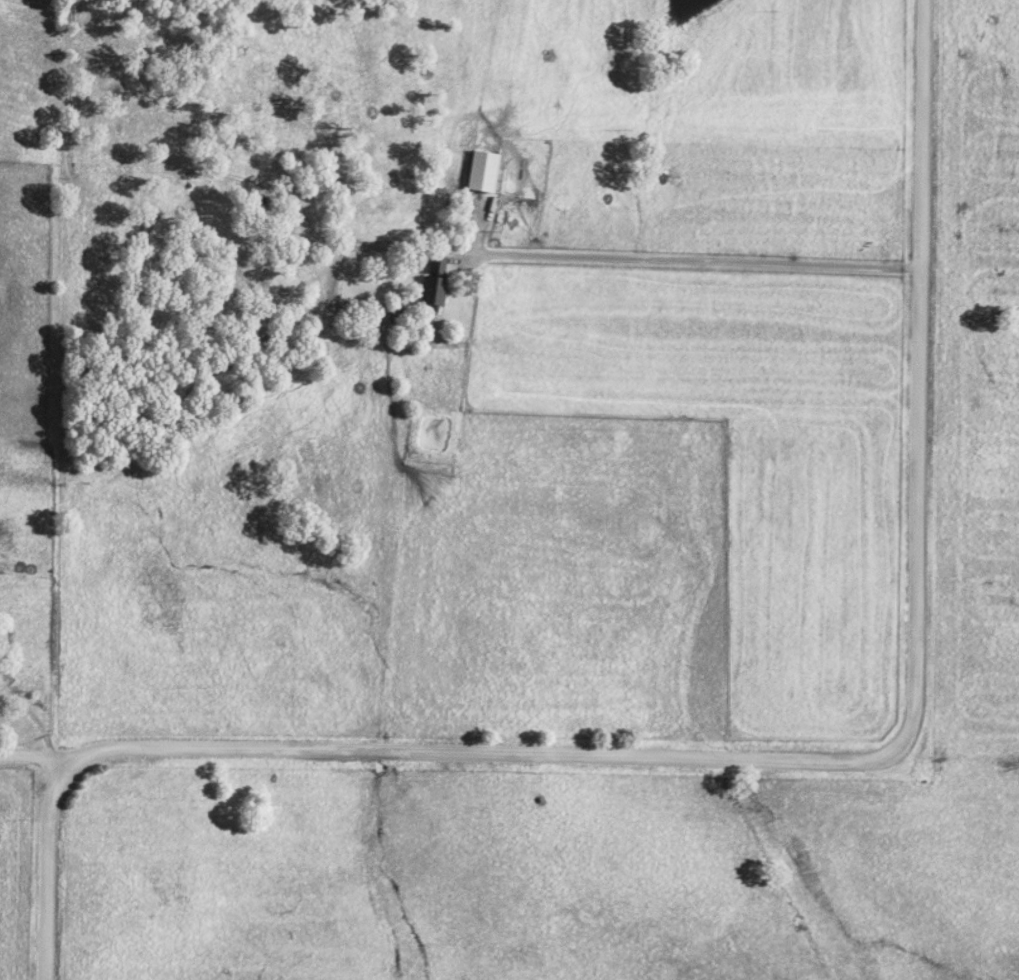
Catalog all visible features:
building: (482, 172)
road: (688, 262)
building: (437, 267)
building: (433, 292)
road: (28, 718)
road: (24, 759)
road: (849, 759)
road: (41, 869)

